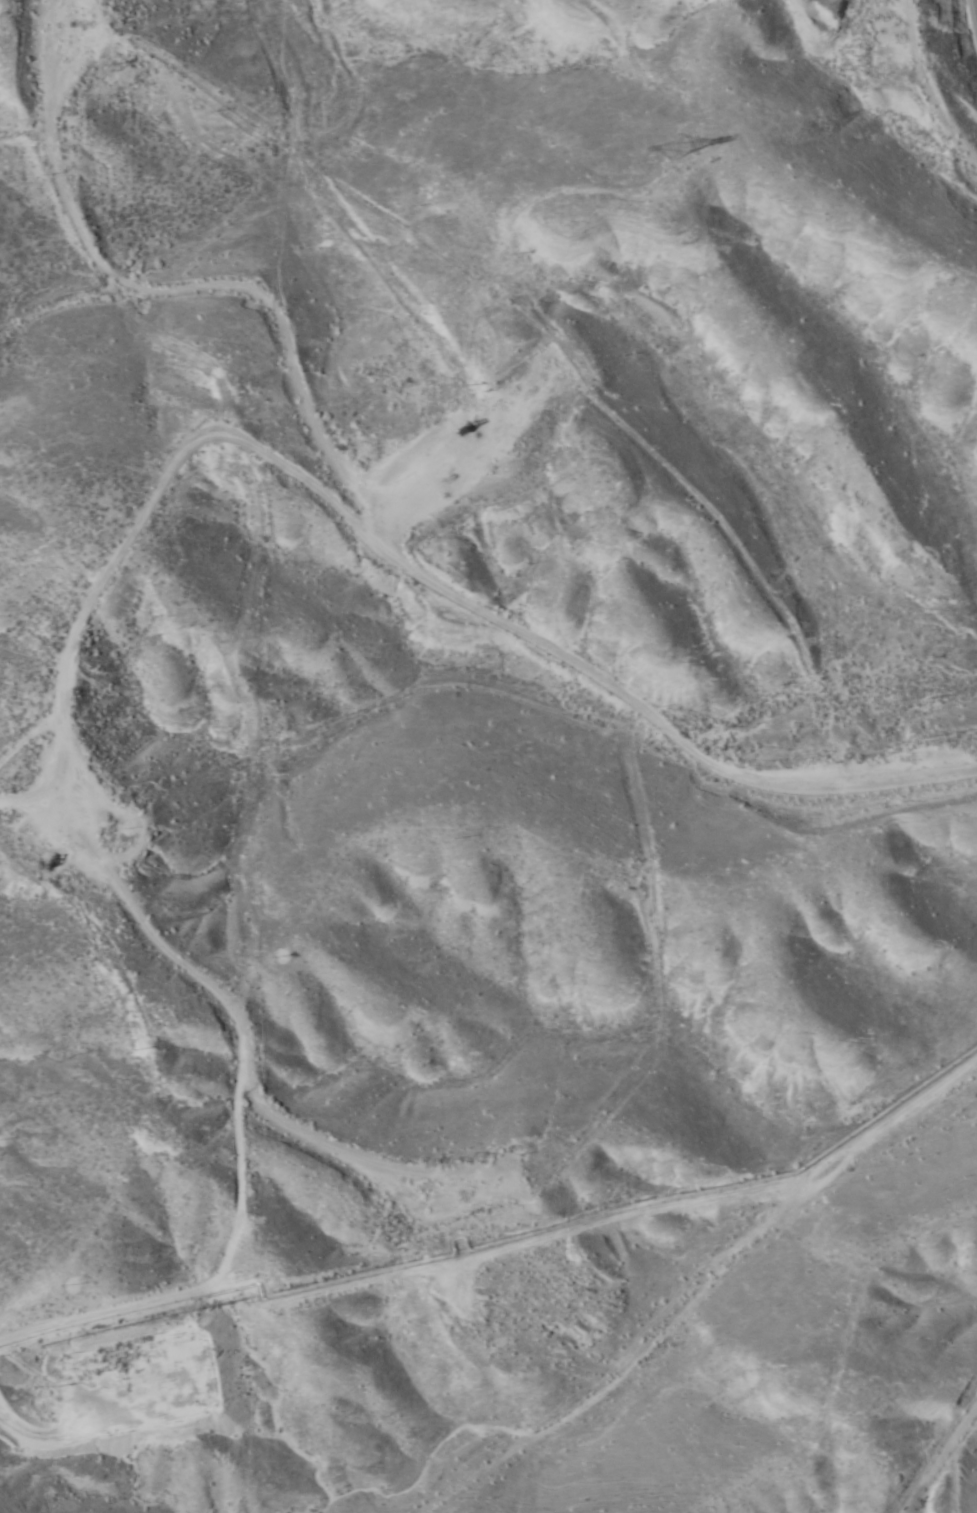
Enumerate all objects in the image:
road: (930, 59)
power tower: (674, 148)
road: (317, 378)
road: (159, 524)
road: (153, 793)
road: (699, 1300)
road: (955, 1480)

